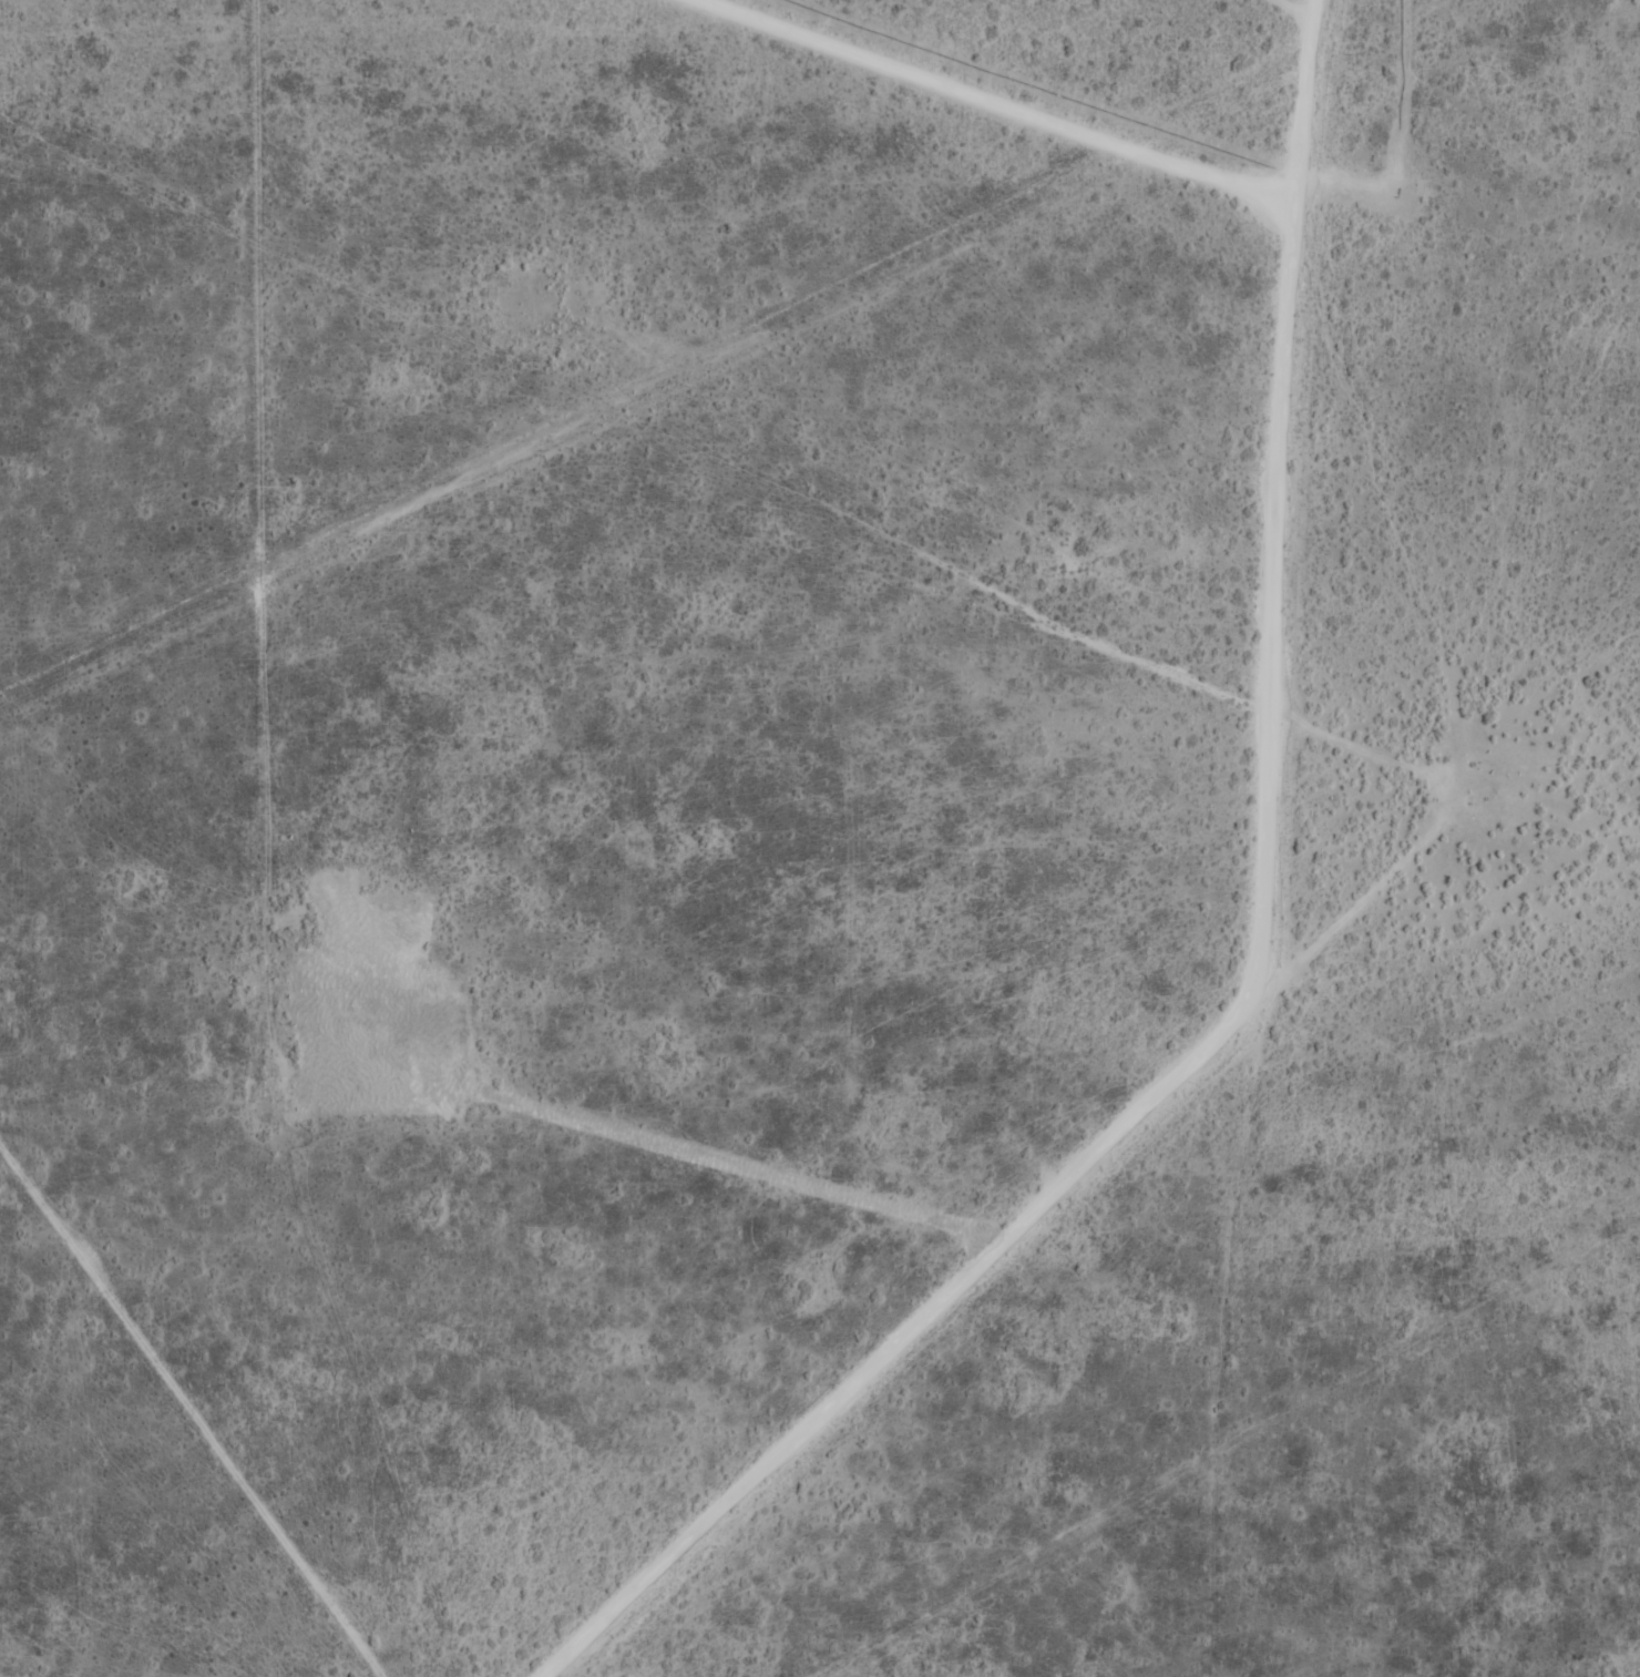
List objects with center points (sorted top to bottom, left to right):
road: (1324, 1)
road: (1019, 104)
road: (1253, 986)
road: (740, 1160)

